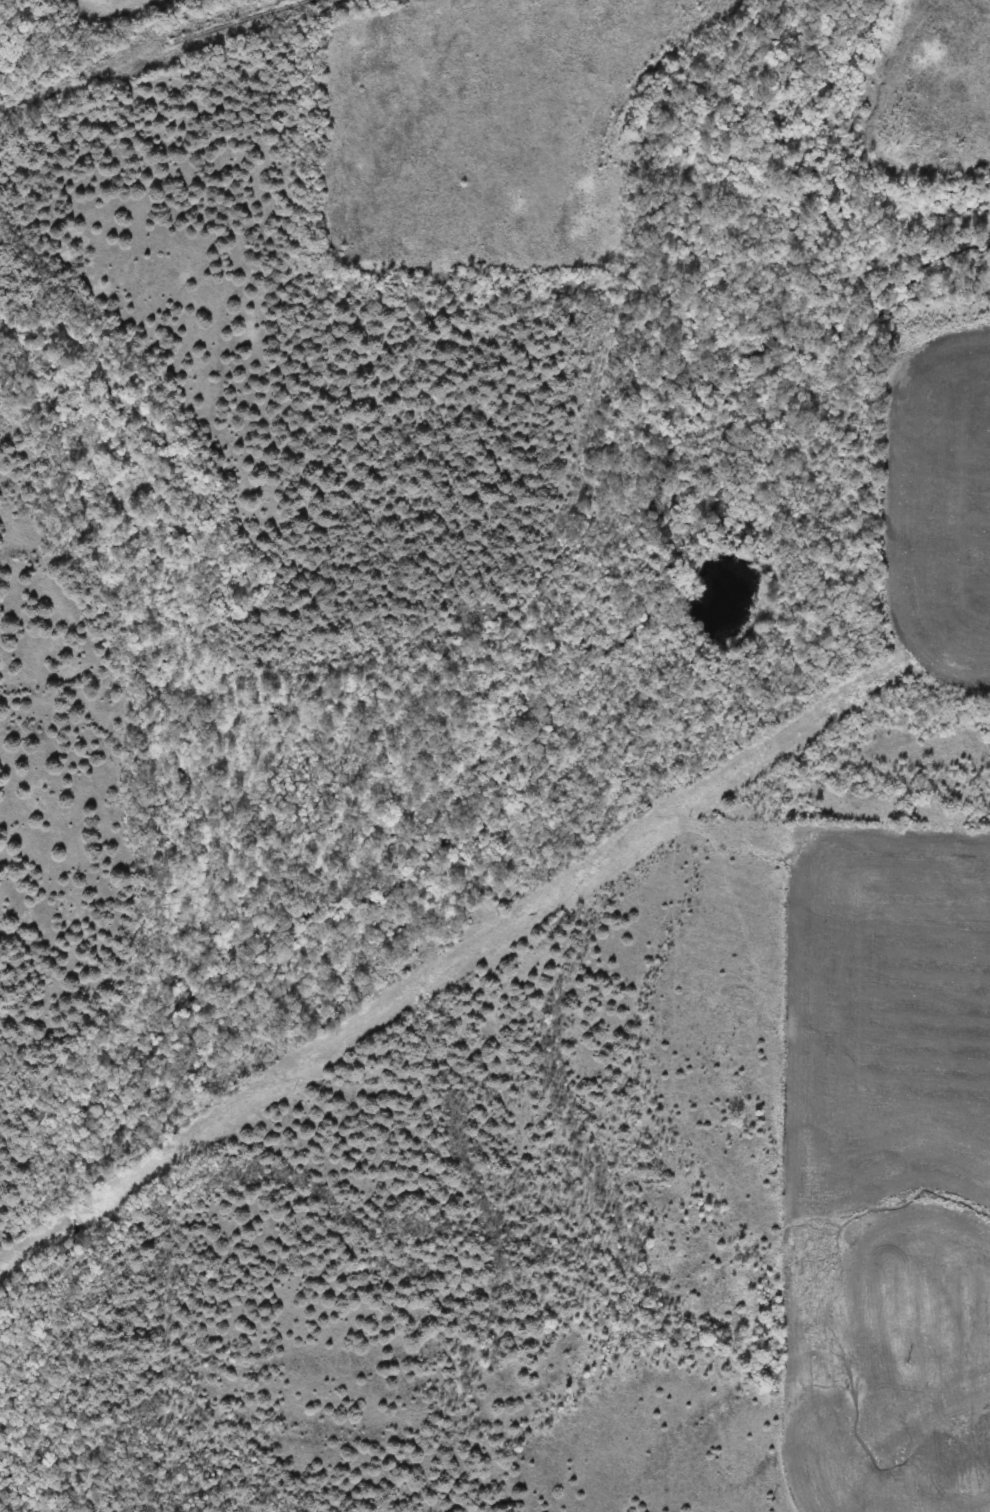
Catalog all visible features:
railway: (240, 22)

